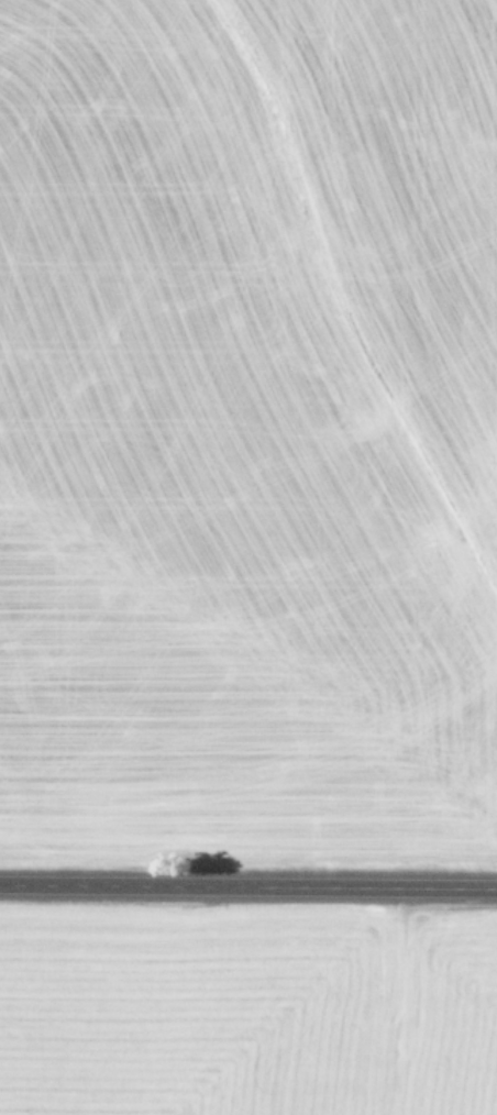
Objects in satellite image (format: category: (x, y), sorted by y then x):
crop: (247, 423)
road: (248, 885)
crop: (247, 1011)

